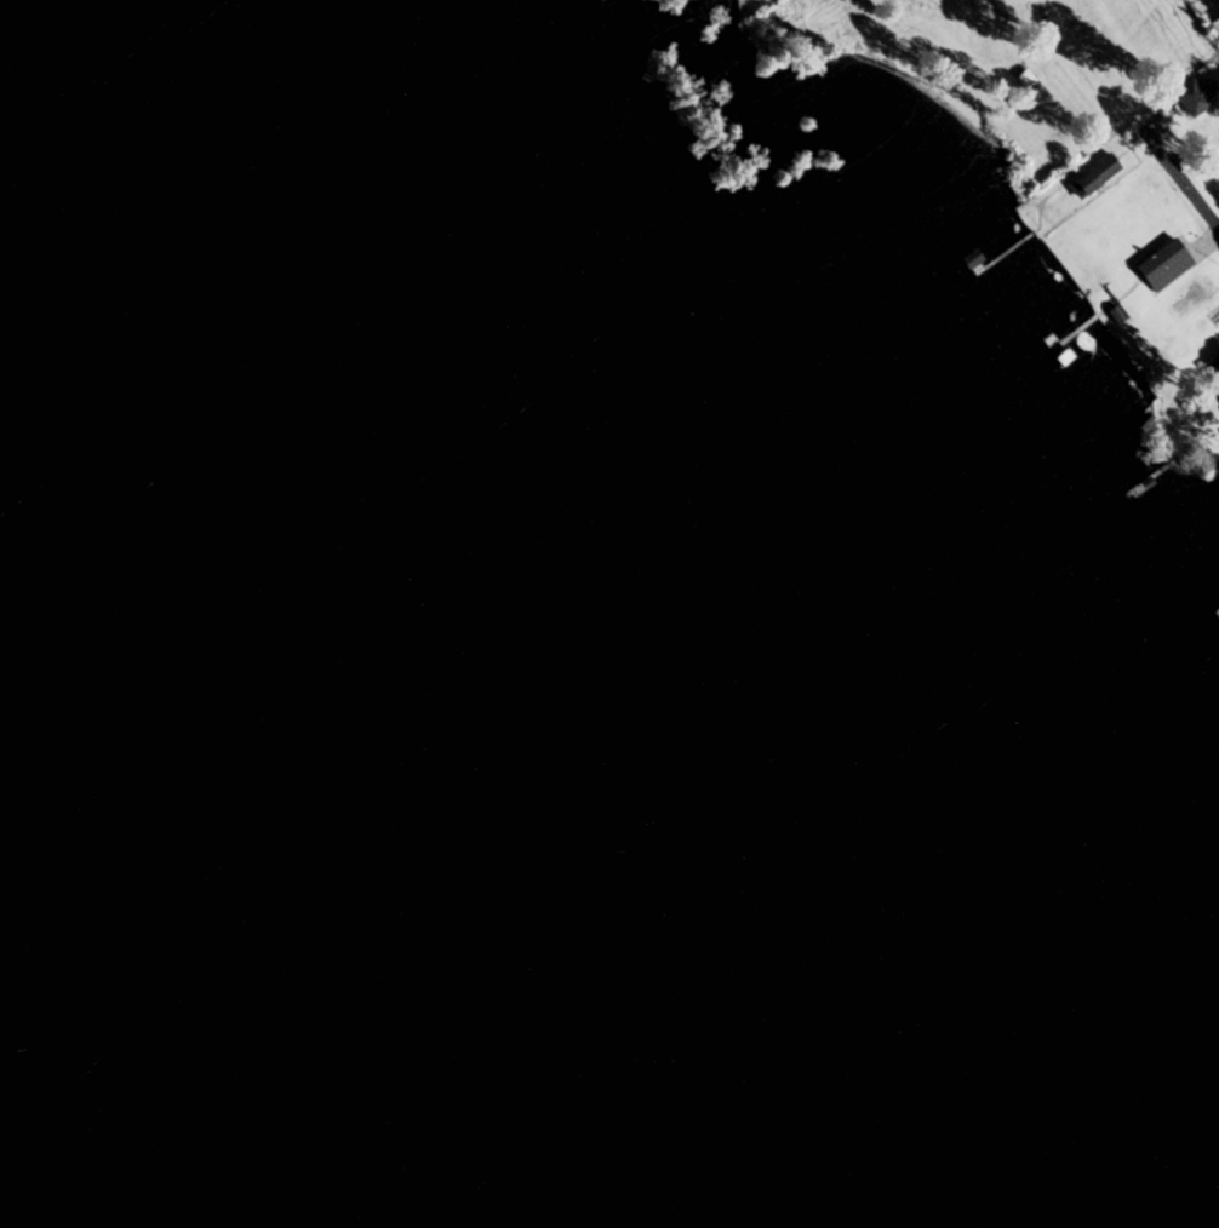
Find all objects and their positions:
road: (1070, 21)
building: (1192, 97)
building: (1100, 174)
building: (1168, 260)
building: (1186, 293)

